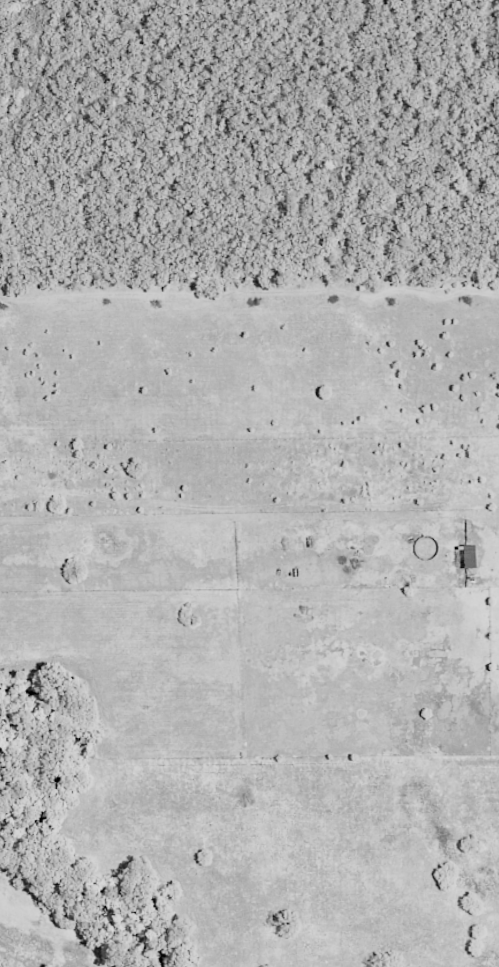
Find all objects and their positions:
building: (473, 555)

